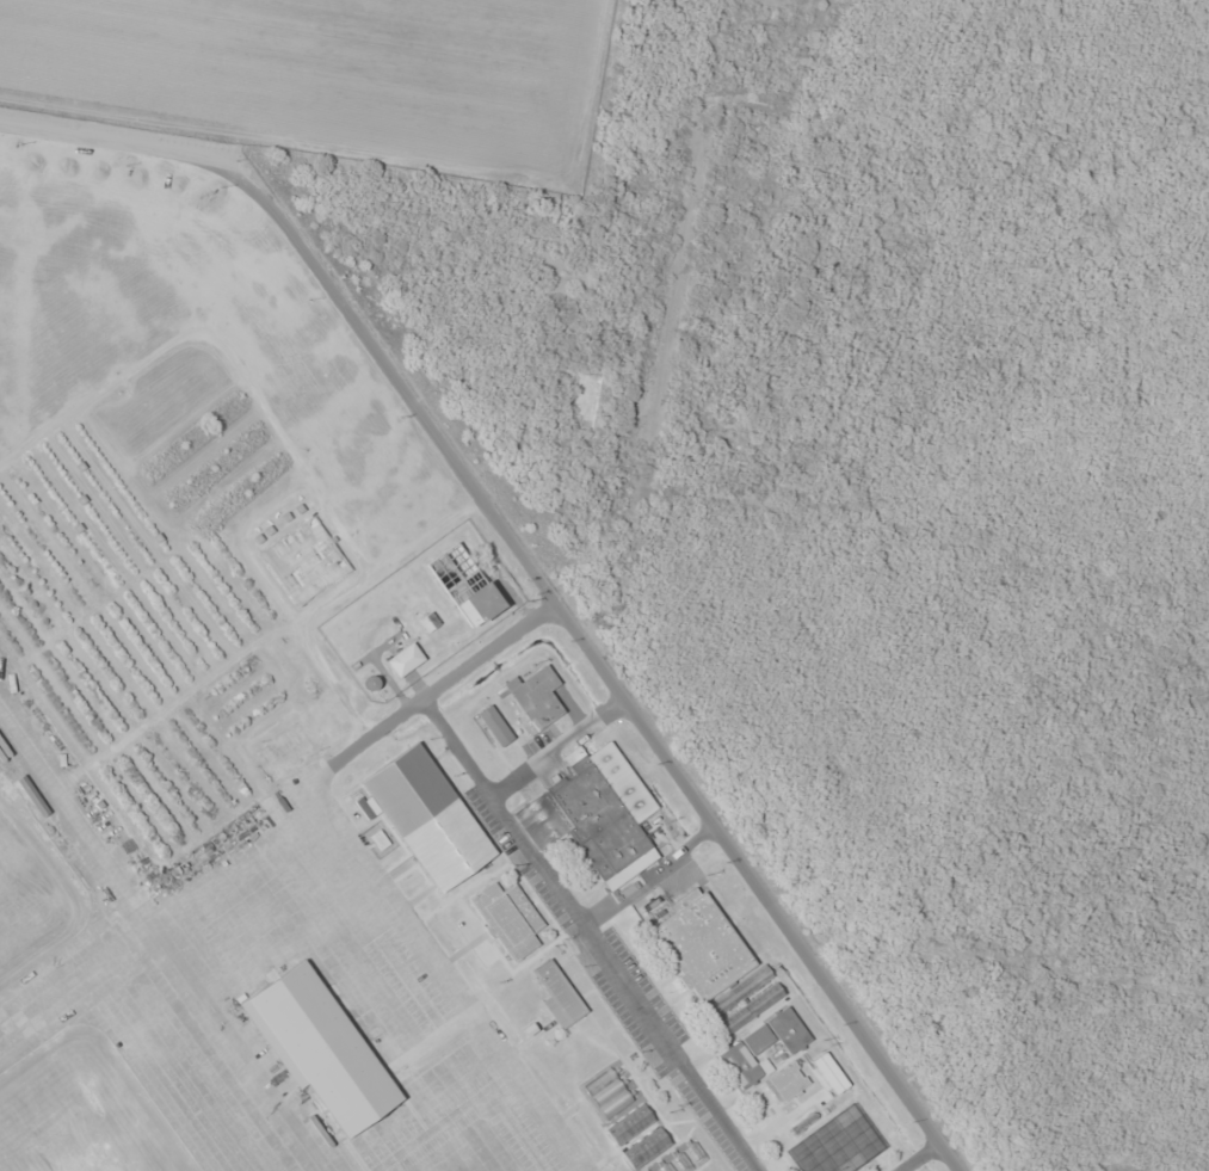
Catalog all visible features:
road: (107, 140)
road: (671, 303)
road: (924, 536)
building: (476, 605)
road: (598, 659)
building: (405, 660)
road: (456, 695)
building: (535, 698)
airport: (350, 751)
road: (1080, 782)
airport taxiway: (63, 809)
building: (596, 816)
building: (426, 818)
building: (508, 919)
building: (715, 963)
road: (1011, 991)
building: (559, 994)
airport taxiway: (35, 1015)
airport apron: (300, 1017)
road: (662, 1037)
building: (763, 1047)
building: (328, 1050)
building: (788, 1083)

